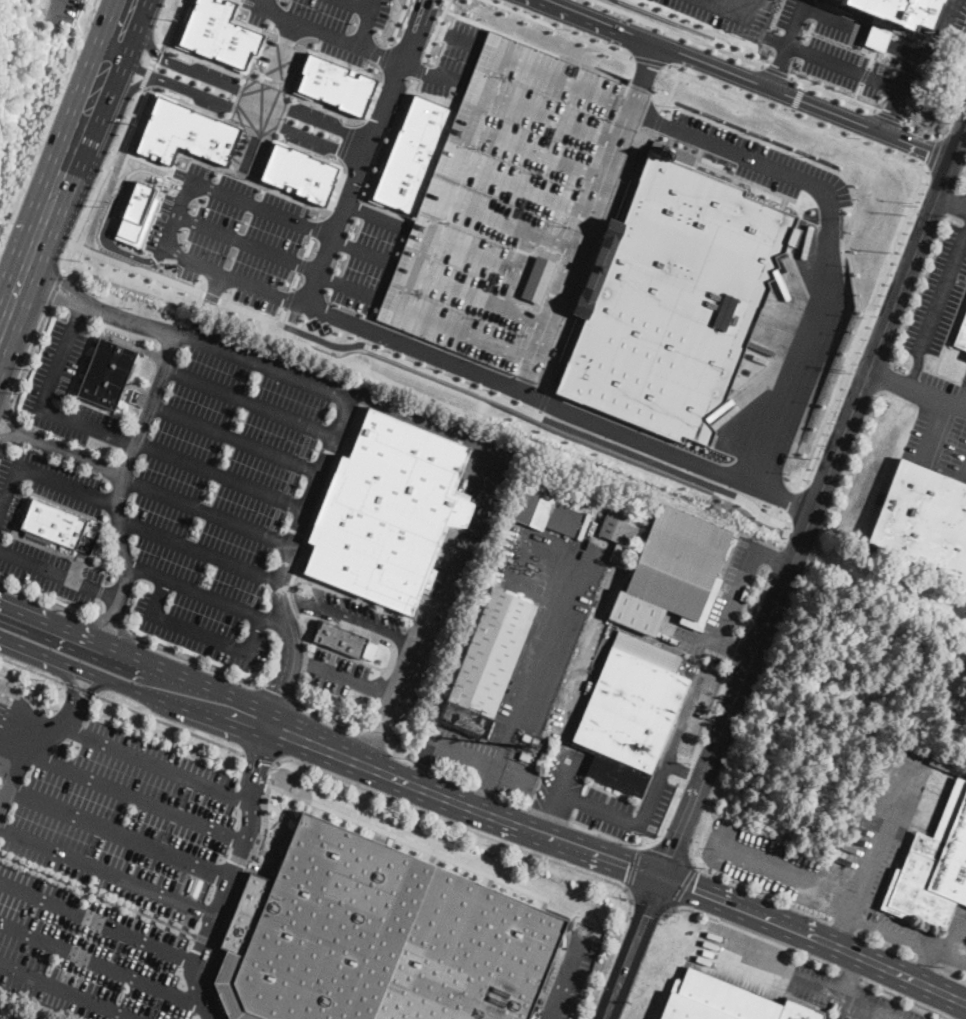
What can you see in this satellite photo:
road: (127, 4)
road: (357, 5)
road: (179, 6)
road: (736, 9)
road: (57, 10)
parking lot: (62, 10)
road: (444, 10)
building: (899, 12)
parking lot: (728, 15)
road: (601, 20)
road: (397, 21)
road: (684, 21)
road: (120, 23)
road: (160, 23)
road: (246, 23)
road: (365, 23)
road: (309, 27)
road: (559, 28)
road: (434, 30)
building: (217, 32)
road: (680, 33)
road: (162, 39)
road: (285, 39)
road: (170, 42)
road: (892, 44)
road: (541, 47)
road: (379, 55)
road: (384, 56)
road: (822, 56)
road: (338, 60)
road: (649, 60)
road: (209, 61)
road: (778, 64)
road: (149, 67)
road: (274, 69)
road: (296, 69)
road: (419, 69)
road: (778, 70)
road: (437, 73)
road: (865, 74)
road: (803, 83)
building: (334, 84)
road: (235, 88)
road: (858, 92)
road: (899, 92)
road: (834, 93)
road: (669, 95)
road: (797, 97)
road: (800, 98)
road: (248, 104)
road: (535, 107)
road: (234, 108)
road: (791, 111)
road: (345, 114)
road: (889, 115)
road: (548, 116)
road: (798, 117)
road: (233, 121)
road: (47, 122)
road: (925, 130)
building: (183, 131)
road: (267, 135)
road: (387, 139)
road: (349, 143)
road: (364, 151)
road: (934, 151)
building: (410, 152)
road: (533, 152)
road: (69, 154)
road: (462, 159)
parking lot: (764, 161)
road: (109, 165)
road: (220, 167)
building: (298, 172)
road: (505, 176)
road: (101, 178)
road: (447, 181)
road: (519, 189)
building: (498, 201)
parking garage: (498, 201)
road: (949, 202)
building: (136, 210)
road: (116, 212)
road: (175, 214)
road: (584, 214)
road: (505, 222)
road: (316, 226)
road: (534, 229)
parking lot: (228, 234)
road: (432, 236)
road: (828, 237)
road: (246, 243)
road: (309, 246)
road: (470, 252)
road: (301, 264)
road: (514, 269)
road: (418, 270)
road: (296, 280)
road: (178, 282)
road: (52, 285)
road: (55, 290)
road: (942, 292)
parking lot: (938, 295)
road: (475, 296)
road: (289, 297)
building: (670, 298)
road: (12, 301)
road: (206, 308)
road: (77, 311)
road: (281, 315)
road: (127, 320)
road: (2, 322)
road: (865, 328)
building: (961, 335)
road: (120, 340)
road: (322, 341)
road: (410, 346)
building: (115, 351)
road: (29, 357)
road: (263, 363)
road: (915, 370)
building: (107, 371)
road: (452, 379)
road: (915, 389)
parking lot: (66, 391)
building: (98, 393)
road: (249, 400)
road: (149, 403)
road: (42, 404)
road: (539, 407)
road: (5, 416)
road: (10, 418)
parking lot: (939, 426)
road: (11, 435)
road: (234, 438)
road: (126, 440)
road: (835, 446)
road: (662, 448)
road: (927, 453)
road: (73, 454)
road: (638, 454)
road: (39, 475)
road: (220, 475)
parking lot: (45, 484)
parking lot: (226, 490)
road: (794, 503)
road: (111, 504)
building: (545, 509)
road: (206, 511)
road: (759, 511)
building: (388, 512)
road: (20, 515)
building: (923, 520)
building: (58, 525)
road: (467, 533)
building: (618, 536)
road: (125, 542)
road: (773, 544)
road: (57, 546)
road: (200, 552)
road: (770, 556)
road: (517, 558)
road: (287, 559)
road: (774, 559)
road: (100, 568)
parking lot: (50, 570)
road: (50, 570)
building: (672, 571)
road: (100, 591)
road: (194, 591)
road: (111, 594)
road: (734, 596)
road: (757, 602)
road: (56, 606)
parking lot: (721, 606)
parking lot: (546, 612)
road: (349, 617)
road: (94, 621)
road: (274, 623)
road: (107, 625)
road: (199, 631)
road: (697, 634)
road: (123, 636)
road: (372, 636)
road: (85, 639)
building: (352, 643)
road: (543, 643)
road: (737, 649)
road: (734, 650)
parking lot: (332, 658)
road: (301, 660)
road: (195, 661)
building: (489, 661)
road: (80, 668)
road: (32, 669)
road: (340, 675)
road: (70, 679)
road: (80, 688)
road: (92, 688)
road: (382, 691)
road: (279, 695)
road: (22, 702)
road: (311, 710)
building: (631, 711)
road: (30, 716)
road: (171, 724)
road: (23, 726)
road: (18, 733)
road: (14, 743)
road: (30, 746)
building: (64, 747)
parking lot: (569, 747)
road: (10, 751)
road: (461, 754)
building: (525, 755)
road: (261, 757)
road: (8, 761)
parking lot: (481, 762)
road: (155, 764)
road: (421, 765)
road: (654, 766)
road: (6, 771)
road: (684, 772)
road: (410, 782)
road: (659, 782)
road: (485, 788)
road: (611, 788)
road: (608, 791)
road: (556, 793)
road: (131, 799)
road: (285, 817)
road: (635, 822)
road: (681, 827)
road: (117, 833)
road: (880, 837)
road: (638, 838)
road: (412, 842)
road: (515, 846)
parking lot: (856, 852)
road: (672, 853)
building: (933, 867)
road: (260, 868)
road: (634, 869)
road: (106, 871)
parking lot: (109, 874)
road: (228, 874)
road: (785, 874)
traffic signals: (661, 877)
building: (196, 886)
road: (682, 887)
road: (239, 891)
road: (107, 899)
road: (648, 906)
road: (692, 910)
road: (891, 913)
road: (96, 922)
road: (962, 927)
road: (731, 928)
road: (638, 929)
road: (841, 932)
road: (755, 935)
building: (374, 937)
road: (813, 938)
road: (907, 938)
road: (952, 940)
road: (816, 960)
road: (925, 965)
road: (102, 966)
road: (849, 973)
parking lot: (570, 974)
road: (850, 975)
road: (566, 978)
road: (802, 979)
road: (66, 992)
parking lot: (840, 993)
road: (903, 997)
road: (610, 1001)
building: (725, 1001)
road: (806, 1001)
parking lot: (3, 1017)

